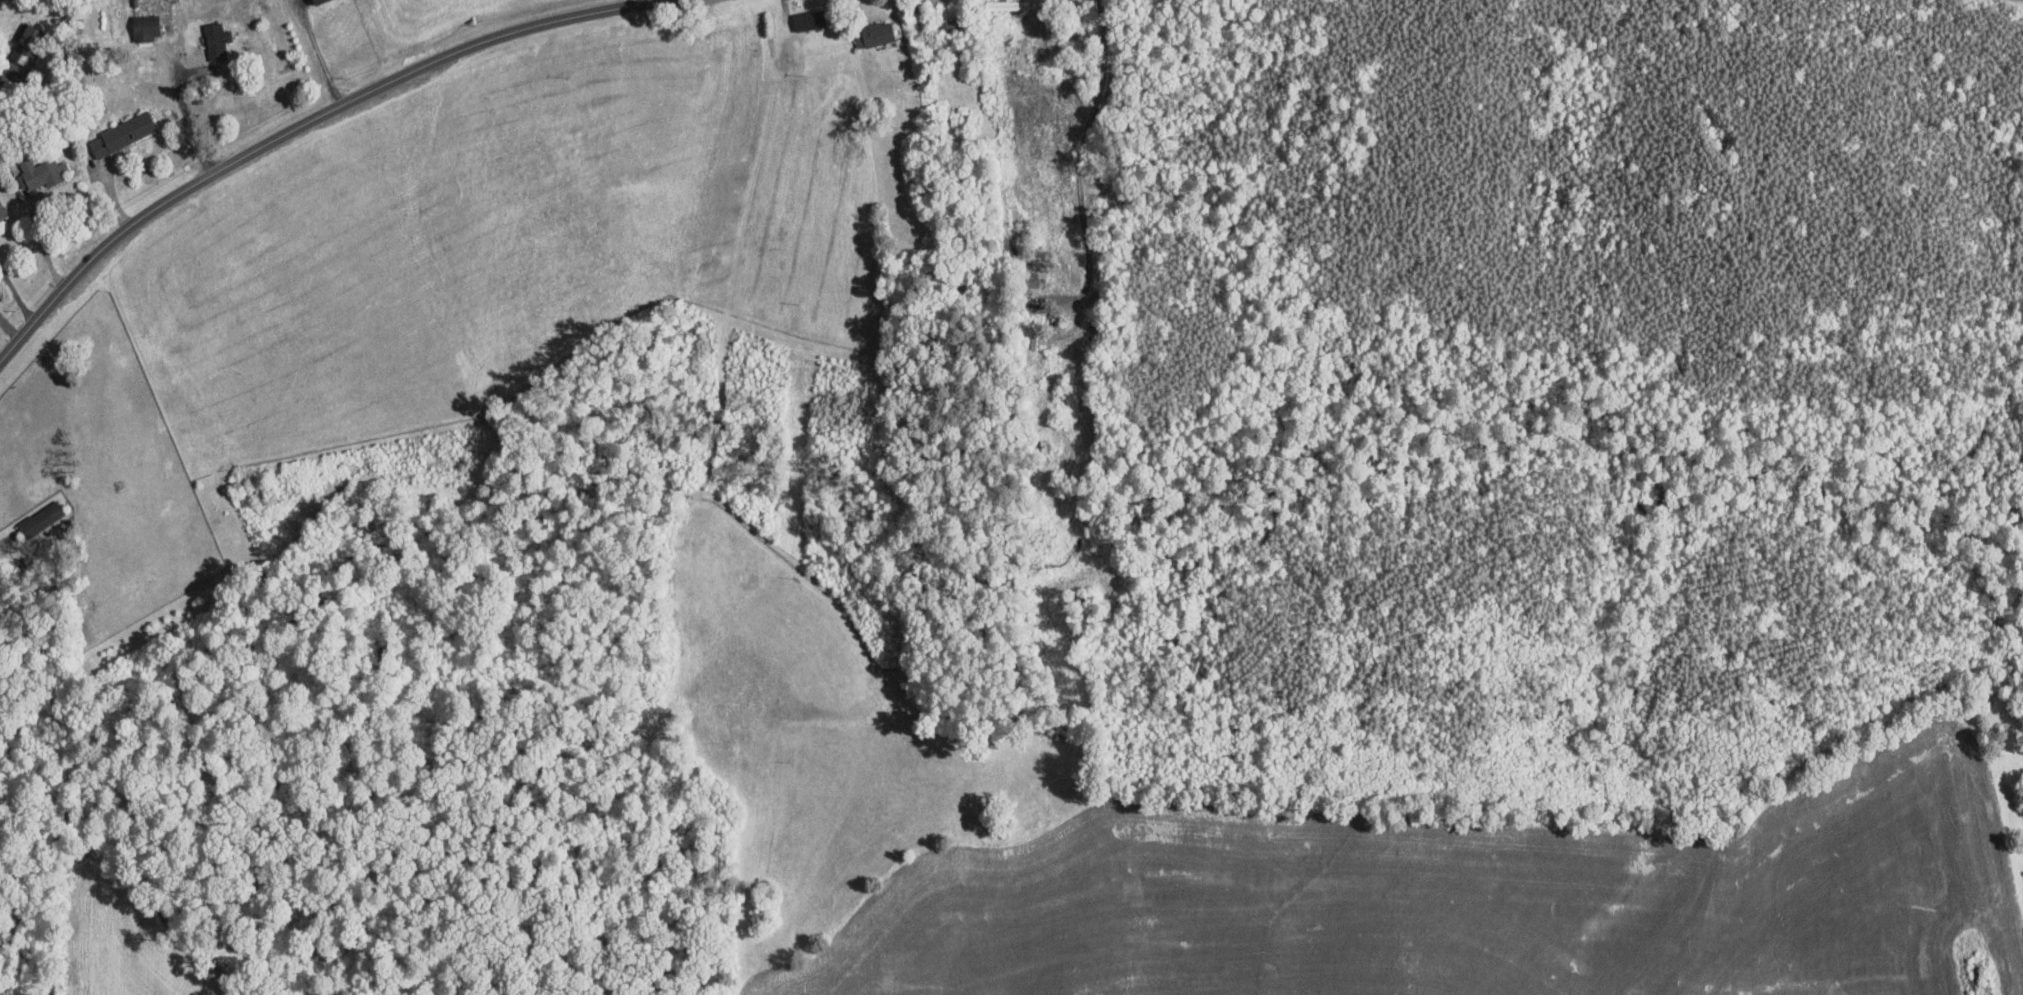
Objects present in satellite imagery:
building: (802, 19)
building: (145, 26)
building: (26, 33)
building: (873, 33)
building: (216, 40)
road: (318, 55)
road: (3, 71)
road: (188, 116)
road: (295, 126)
building: (121, 133)
building: (40, 171)
building: (2, 211)
road: (44, 251)
building: (40, 518)

